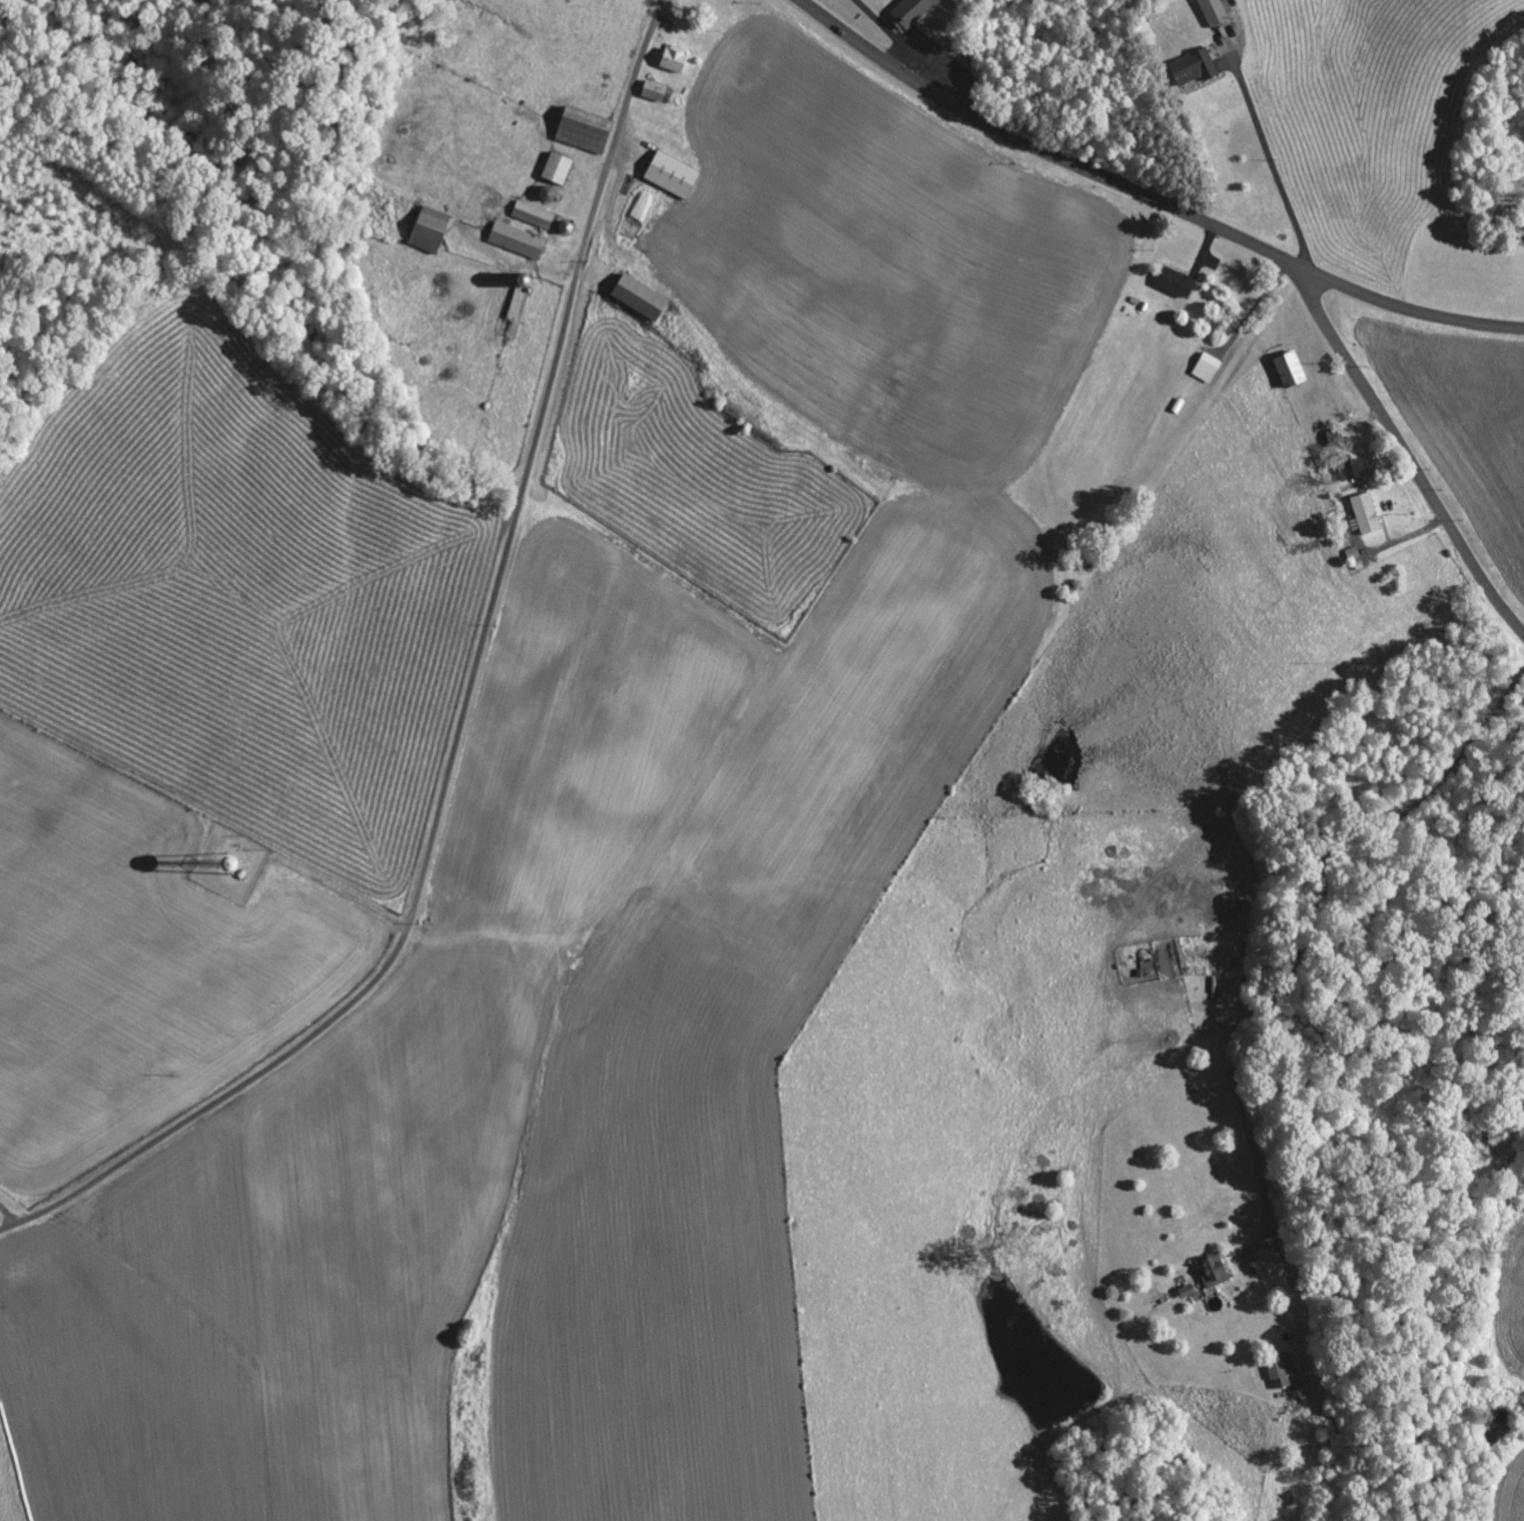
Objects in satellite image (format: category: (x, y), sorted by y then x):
building: (1209, 12)
building: (907, 13)
building: (671, 59)
building: (1190, 68)
building: (650, 91)
building: (579, 130)
building: (553, 169)
building: (669, 175)
road: (1147, 196)
building: (530, 215)
building: (425, 229)
building: (513, 240)
building: (1173, 282)
building: (635, 298)
building: (1205, 368)
building: (1286, 370)
road: (1407, 453)
building: (1351, 468)
building: (1362, 514)
road: (464, 710)
building: (1208, 1270)
building: (1183, 1291)
building: (1278, 1370)

